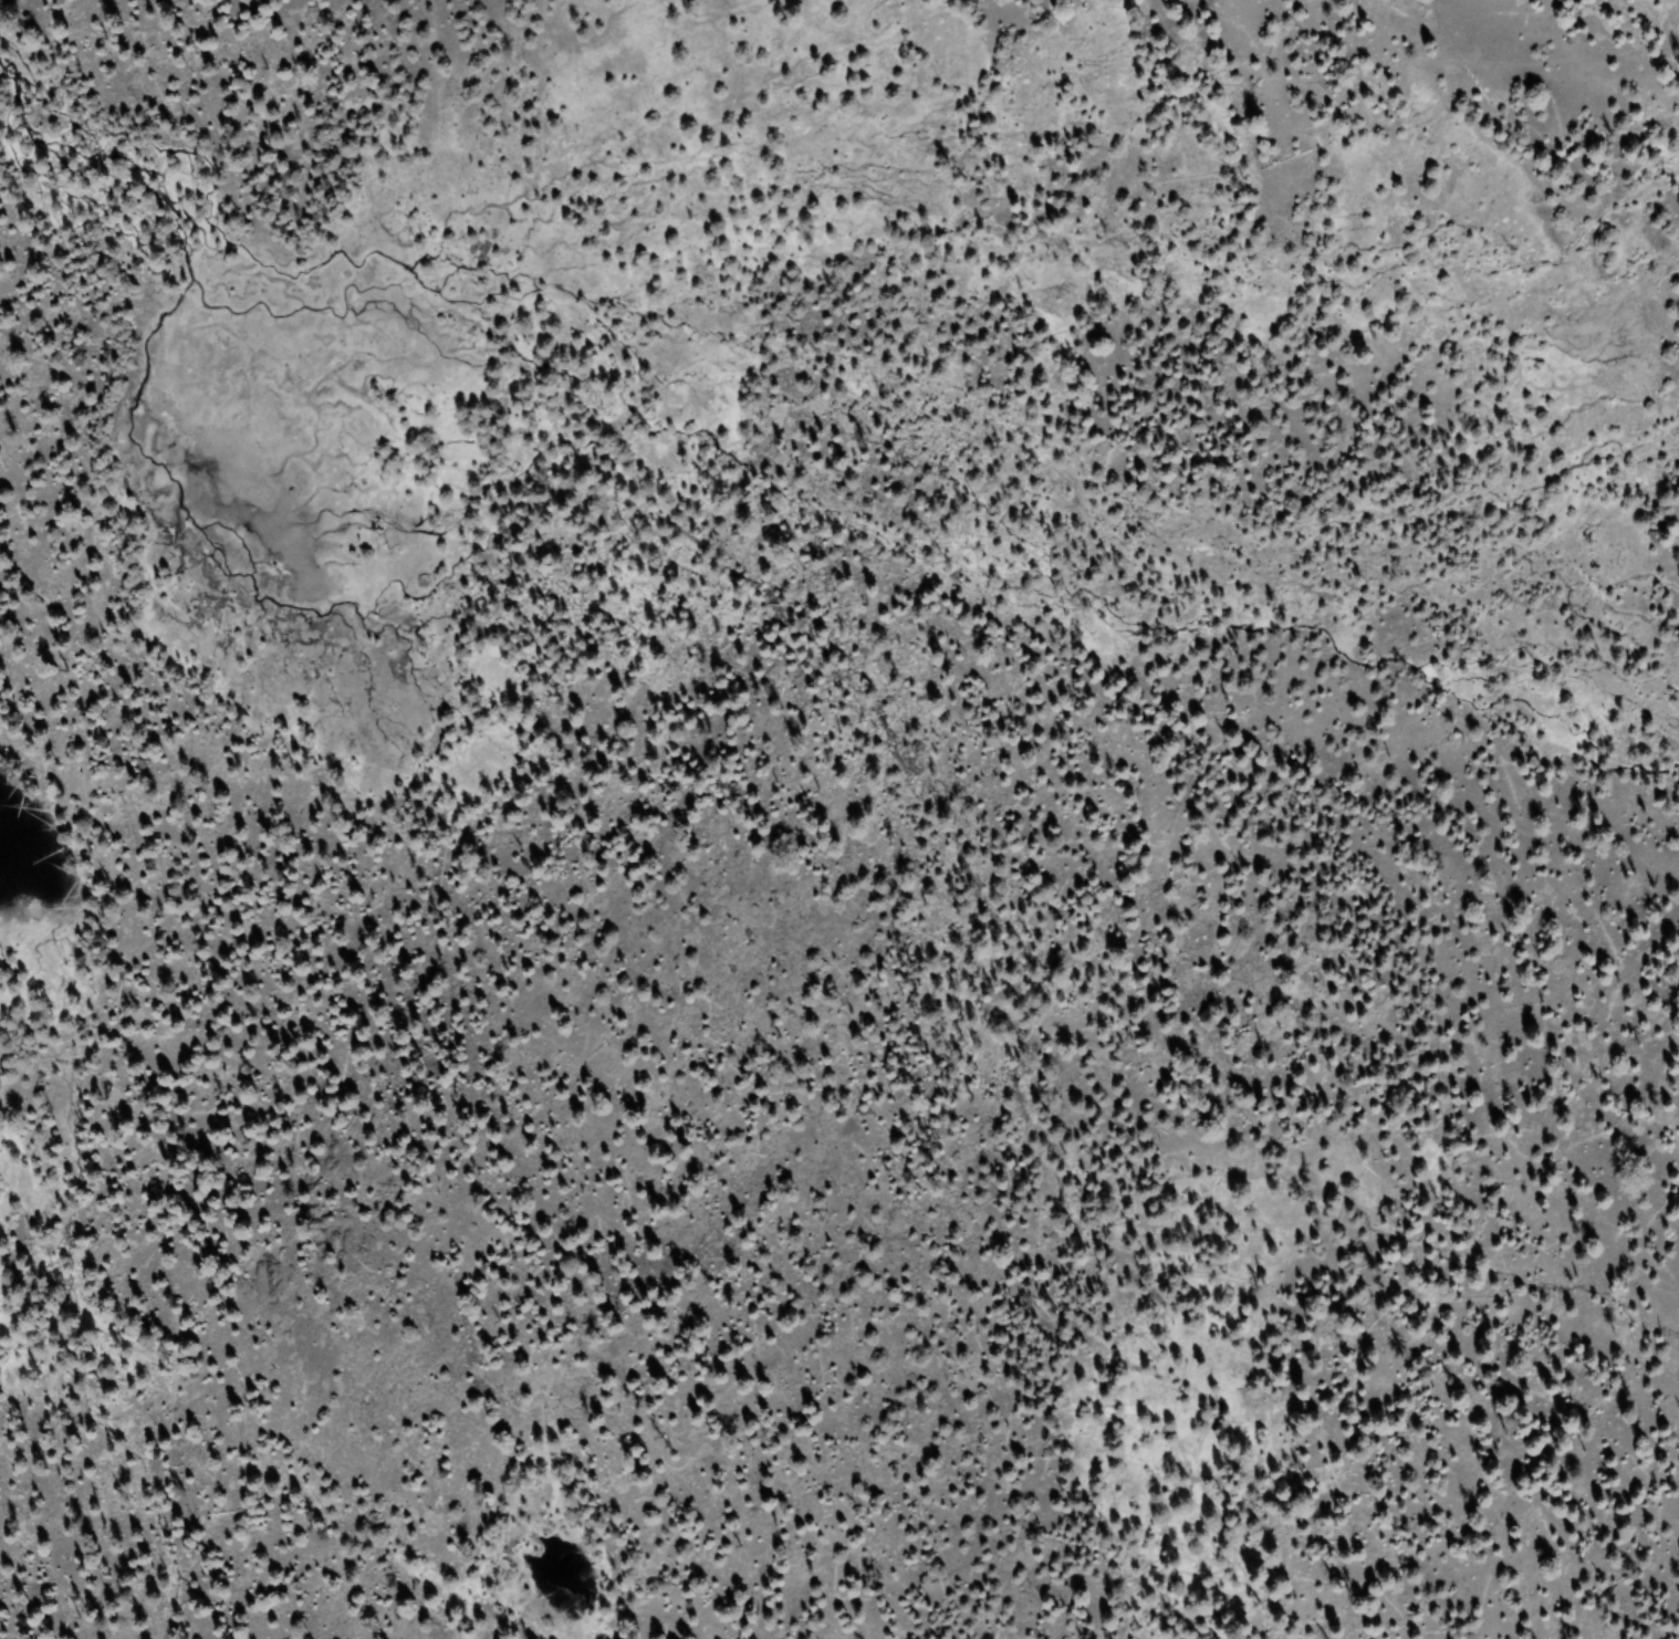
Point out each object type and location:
road: (1463, 55)

